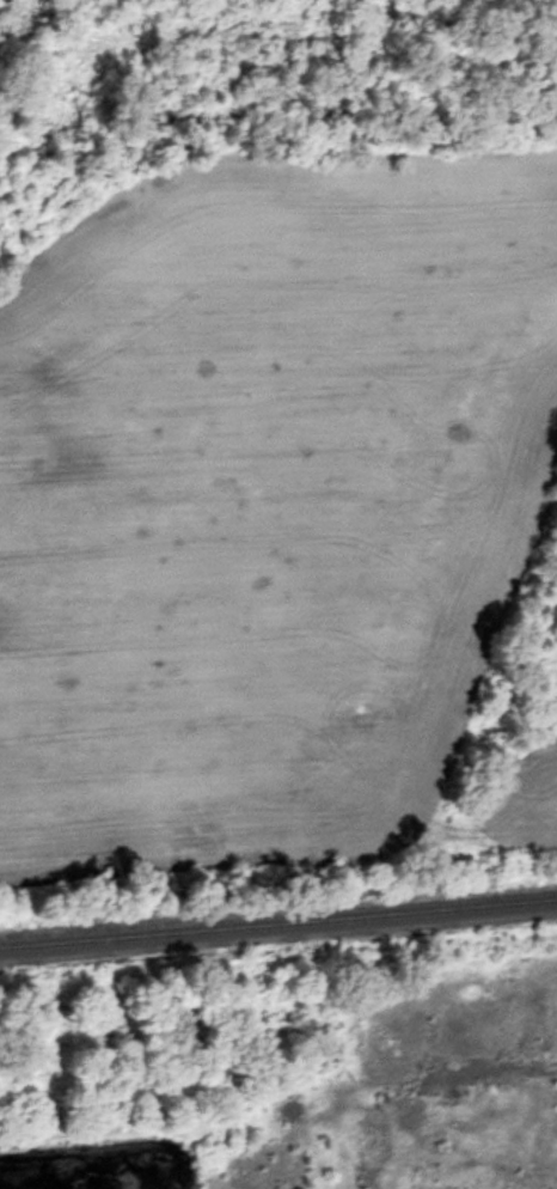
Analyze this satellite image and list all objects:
railway: (278, 922)

